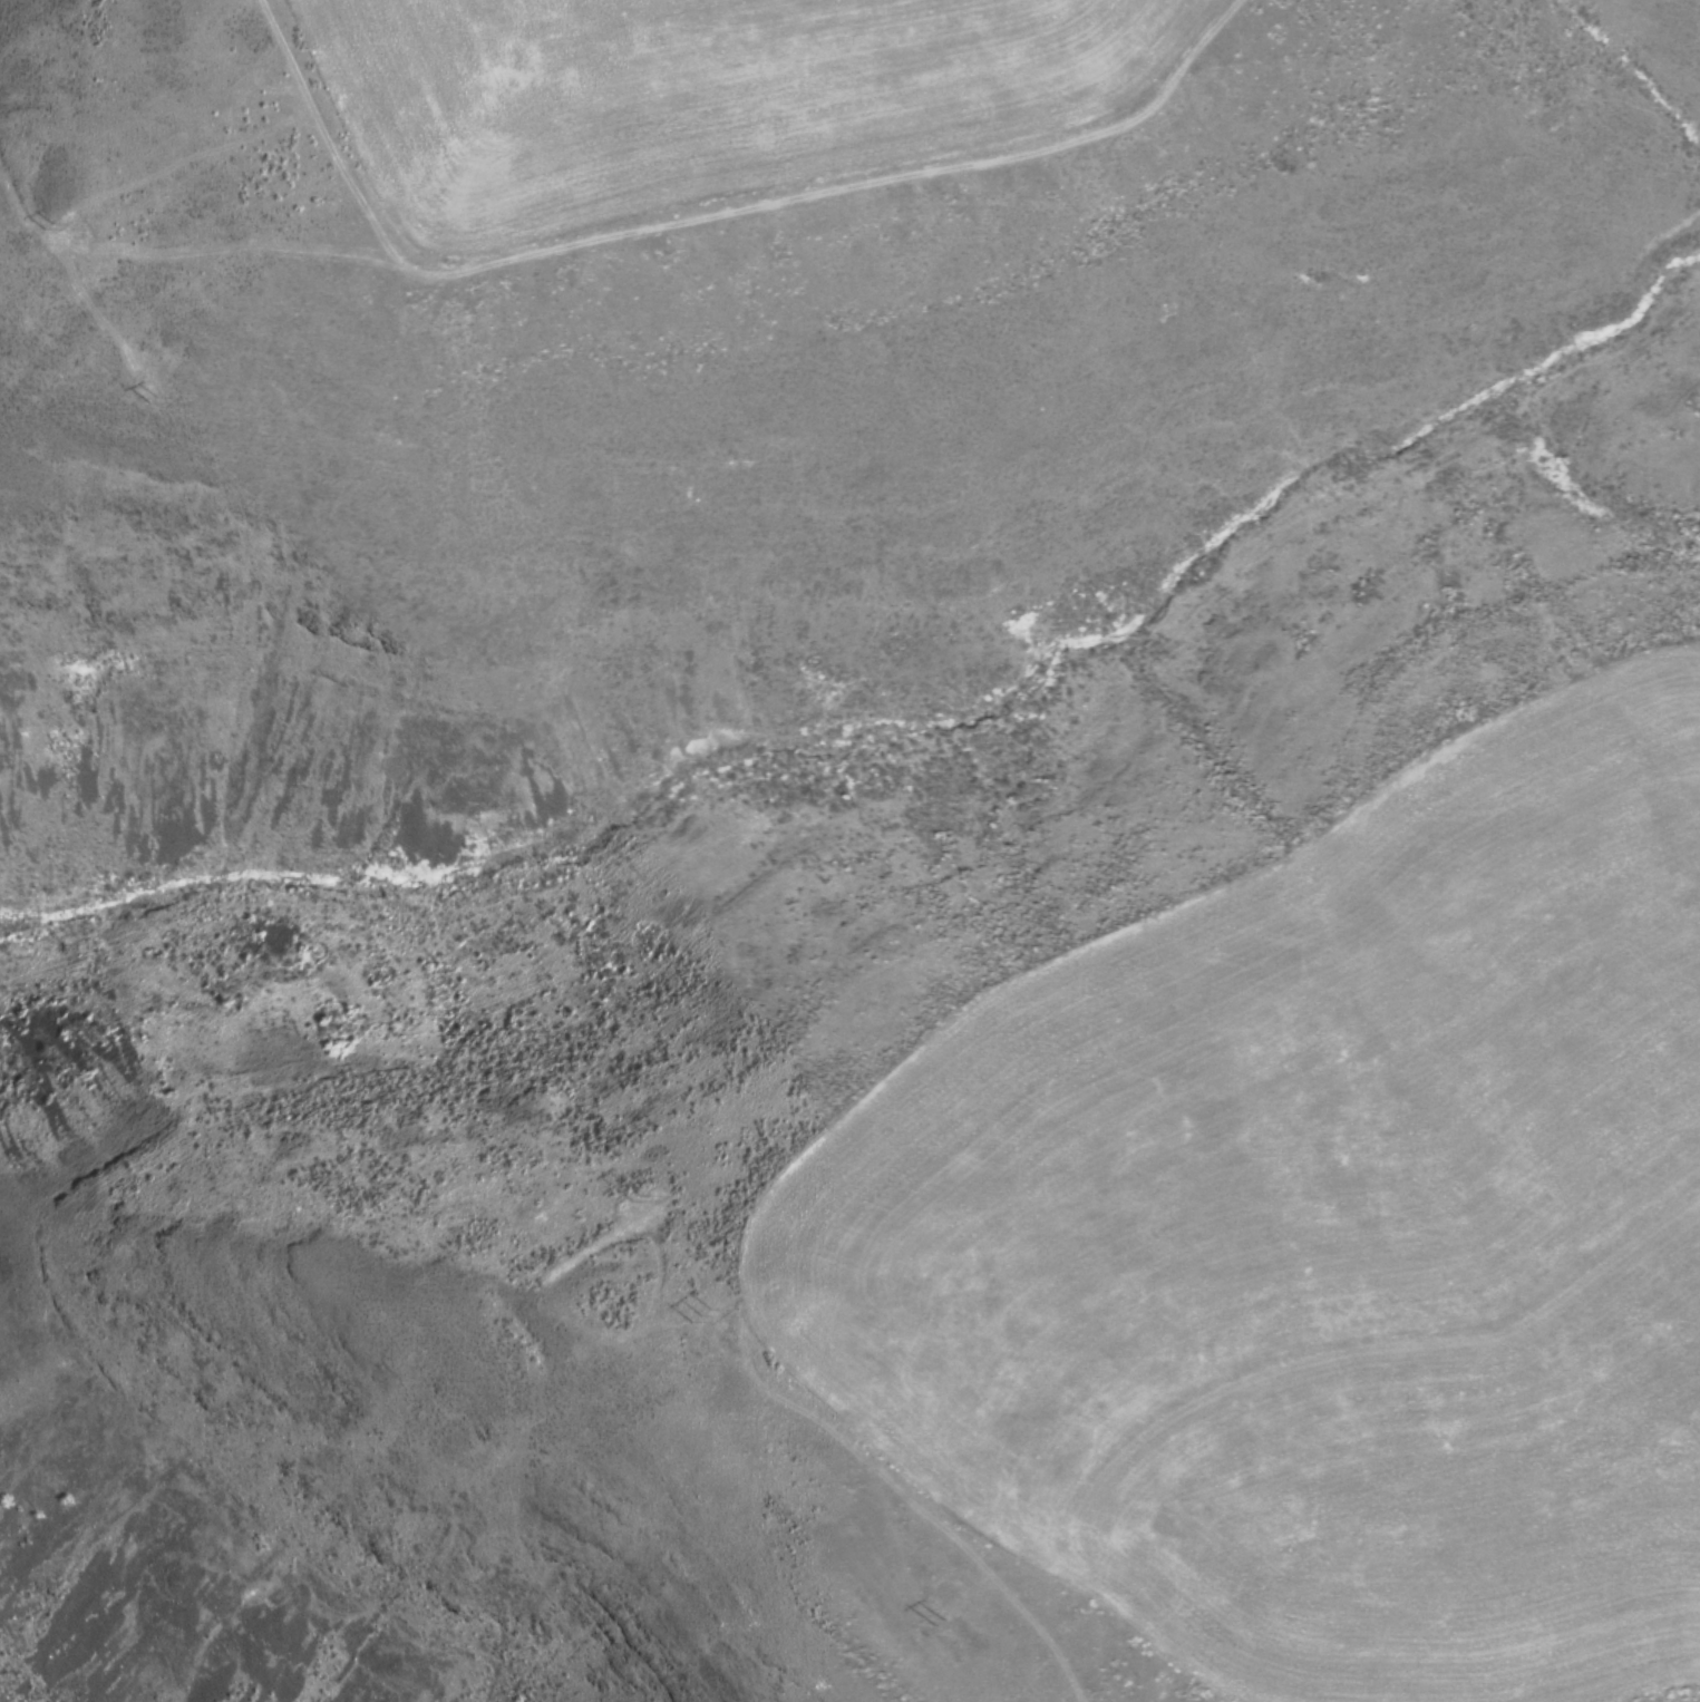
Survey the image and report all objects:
power tower: (50, 225)
power tower: (157, 398)
power tower: (515, 838)
power tower: (634, 1196)
power tower: (700, 1314)
power tower: (945, 1622)

